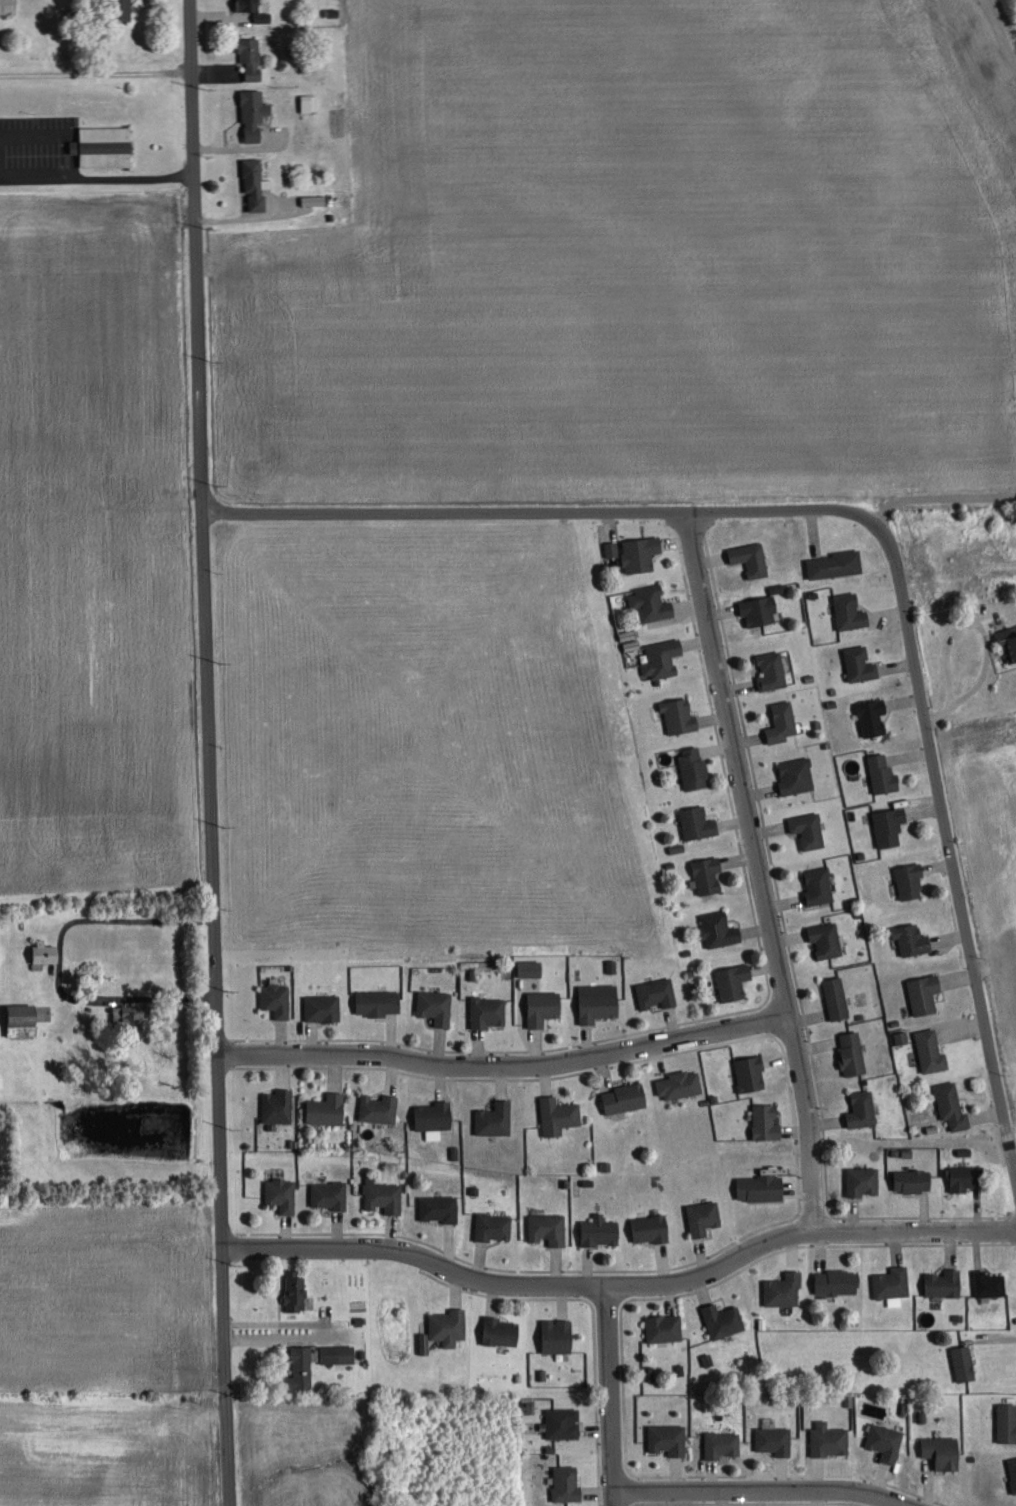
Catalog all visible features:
building: (9, 6)
building: (122, 9)
building: (256, 10)
building: (251, 57)
building: (310, 102)
building: (254, 113)
building: (104, 146)
building: (256, 182)
road: (114, 184)
road: (194, 258)
road: (443, 516)
building: (612, 548)
building: (641, 553)
building: (752, 558)
building: (835, 564)
building: (652, 603)
building: (760, 609)
building: (851, 611)
building: (1009, 640)
building: (663, 658)
building: (861, 663)
building: (773, 670)
road: (977, 682)
building: (680, 715)
building: (873, 716)
road: (936, 718)
building: (783, 722)
road: (930, 756)
building: (694, 767)
building: (884, 773)
building: (797, 775)
building: (698, 822)
building: (890, 826)
building: (809, 829)
road: (758, 871)
building: (707, 875)
building: (911, 880)
building: (820, 885)
road: (129, 923)
building: (719, 929)
building: (827, 939)
building: (912, 939)
building: (45, 951)
building: (612, 966)
building: (531, 968)
building: (734, 981)
building: (658, 993)
building: (925, 993)
building: (837, 998)
building: (277, 999)
building: (599, 1001)
building: (378, 1002)
building: (436, 1006)
building: (544, 1006)
building: (323, 1008)
road: (215, 1011)
building: (489, 1011)
building: (131, 1016)
building: (21, 1020)
road: (748, 1026)
building: (902, 1037)
building: (931, 1050)
building: (853, 1052)
road: (463, 1066)
building: (751, 1073)
building: (681, 1084)
building: (625, 1098)
building: (954, 1105)
building: (278, 1106)
building: (380, 1108)
building: (327, 1109)
building: (863, 1109)
building: (559, 1115)
building: (435, 1116)
building: (496, 1119)
building: (766, 1122)
building: (966, 1178)
building: (914, 1180)
building: (864, 1181)
building: (761, 1187)
building: (282, 1194)
building: (330, 1194)
building: (384, 1195)
building: (440, 1208)
building: (704, 1217)
building: (495, 1226)
building: (651, 1228)
building: (549, 1229)
building: (601, 1231)
road: (875, 1233)
road: (480, 1281)
building: (838, 1282)
building: (893, 1283)
building: (945, 1283)
building: (990, 1283)
building: (784, 1290)
building: (296, 1291)
building: (724, 1320)
building: (449, 1326)
building: (665, 1327)
building: (501, 1331)
building: (558, 1335)
road: (275, 1341)
building: (425, 1343)
building: (338, 1354)
building: (964, 1363)
building: (301, 1369)
building: (653, 1373)
road: (610, 1395)
building: (1007, 1422)
building: (562, 1423)
building: (775, 1437)
building: (668, 1439)
building: (830, 1439)
building: (886, 1441)
building: (723, 1444)
building: (943, 1451)
building: (1013, 1471)
building: (567, 1483)
road: (757, 1491)

